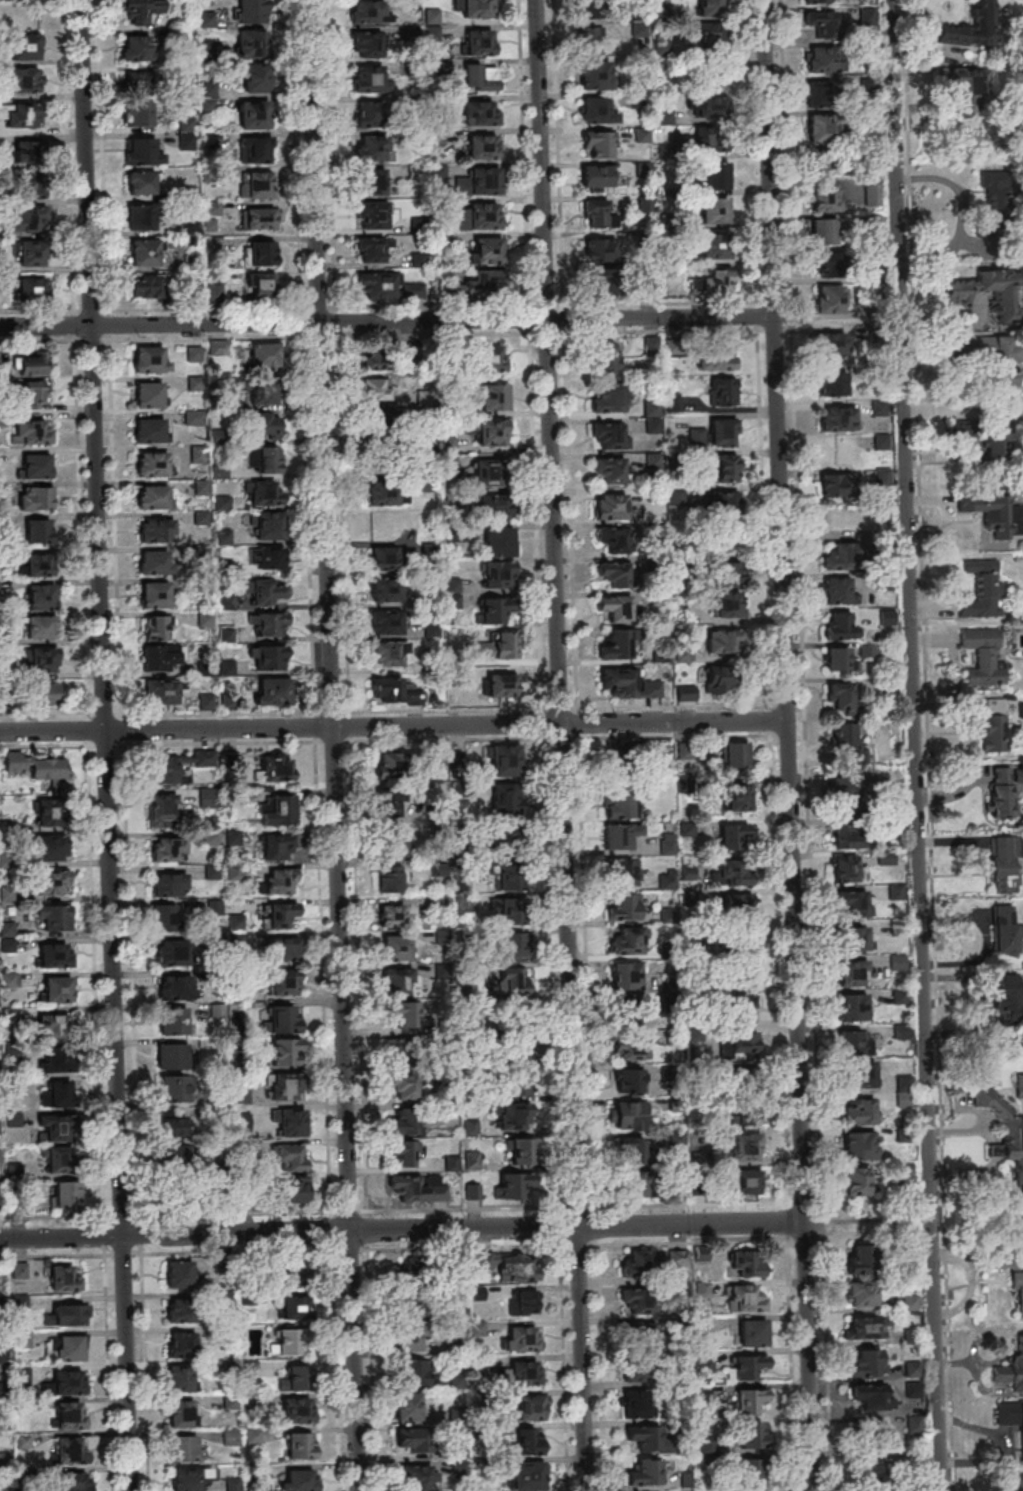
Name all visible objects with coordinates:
building: (821, 1)
building: (711, 7)
building: (477, 8)
building: (142, 11)
building: (251, 11)
building: (367, 12)
building: (596, 17)
building: (825, 23)
building: (971, 28)
building: (250, 39)
building: (479, 42)
building: (367, 44)
building: (27, 46)
building: (137, 48)
building: (709, 55)
building: (825, 60)
building: (480, 77)
building: (596, 77)
building: (22, 80)
building: (254, 80)
building: (370, 80)
building: (145, 83)
building: (964, 87)
building: (821, 95)
building: (710, 106)
building: (597, 111)
building: (481, 113)
building: (374, 114)
building: (137, 115)
building: (254, 115)
building: (20, 116)
building: (822, 129)
building: (187, 132)
building: (643, 135)
building: (714, 142)
building: (601, 144)
building: (483, 145)
building: (258, 150)
building: (374, 150)
building: (144, 151)
building: (26, 153)
building: (716, 176)
building: (597, 178)
building: (372, 182)
building: (140, 183)
building: (259, 184)
building: (477, 185)
building: (29, 188)
building: (827, 196)
building: (993, 201)
building: (715, 211)
building: (598, 214)
road: (962, 215)
building: (377, 216)
building: (479, 216)
building: (141, 217)
building: (259, 218)
building: (28, 219)
building: (825, 231)
building: (714, 246)
building: (373, 249)
building: (489, 249)
building: (600, 250)
building: (144, 253)
building: (261, 253)
building: (32, 255)
building: (419, 258)
building: (828, 264)
building: (605, 281)
building: (490, 283)
building: (712, 283)
building: (978, 283)
building: (261, 285)
building: (146, 287)
building: (387, 287)
building: (32, 289)
building: (829, 299)
road: (385, 322)
road: (433, 334)
road: (315, 336)
road: (201, 338)
road: (91, 339)
road: (38, 340)
building: (831, 343)
building: (218, 347)
building: (1008, 353)
building: (194, 354)
building: (264, 356)
building: (374, 358)
building: (491, 358)
building: (607, 358)
building: (150, 359)
building: (716, 359)
building: (32, 365)
building: (1011, 380)
building: (832, 384)
building: (375, 389)
building: (725, 391)
building: (261, 393)
building: (33, 394)
building: (149, 394)
building: (494, 397)
building: (609, 397)
building: (652, 417)
building: (194, 418)
building: (838, 419)
building: (384, 422)
building: (266, 424)
building: (150, 430)
building: (30, 431)
building: (493, 432)
building: (713, 434)
building: (611, 436)
building: (1007, 439)
building: (836, 452)
building: (197, 454)
building: (268, 459)
building: (153, 464)
building: (34, 466)
building: (729, 469)
building: (610, 470)
building: (491, 472)
building: (836, 485)
building: (264, 492)
building: (382, 495)
building: (153, 497)
building: (676, 497)
building: (35, 498)
building: (722, 502)
building: (226, 503)
building: (610, 505)
building: (494, 506)
building: (988, 510)
road: (535, 522)
building: (269, 526)
building: (156, 530)
building: (39, 531)
building: (612, 539)
building: (202, 553)
building: (270, 557)
building: (383, 558)
building: (841, 558)
building: (512, 559)
building: (155, 563)
building: (39, 564)
building: (727, 572)
building: (617, 575)
building: (981, 589)
building: (385, 590)
building: (268, 591)
building: (837, 591)
building: (154, 595)
building: (41, 597)
building: (227, 601)
building: (729, 606)
building: (615, 607)
building: (493, 611)
building: (887, 617)
building: (385, 622)
building: (269, 623)
building: (840, 625)
building: (41, 627)
building: (155, 628)
building: (723, 641)
building: (616, 645)
building: (505, 646)
building: (389, 654)
building: (981, 656)
building: (161, 657)
building: (268, 657)
building: (838, 658)
building: (44, 660)
building: (720, 680)
building: (502, 684)
building: (629, 684)
building: (394, 689)
building: (272, 691)
building: (163, 692)
building: (44, 693)
building: (686, 693)
building: (841, 697)
building: (206, 702)
road: (446, 711)
building: (988, 721)
road: (392, 727)
building: (849, 738)
road: (217, 741)
road: (104, 743)
road: (46, 744)
road: (103, 745)
road: (330, 745)
road: (558, 745)
road: (770, 745)
road: (786, 745)
road: (913, 745)
building: (627, 754)
building: (735, 755)
building: (505, 759)
building: (438, 763)
building: (390, 764)
building: (36, 767)
building: (177, 767)
building: (276, 768)
building: (854, 792)
building: (998, 794)
building: (738, 796)
building: (504, 797)
building: (622, 802)
building: (388, 804)
building: (162, 811)
building: (276, 811)
building: (45, 813)
building: (621, 835)
building: (735, 836)
building: (851, 836)
building: (393, 842)
building: (667, 844)
building: (277, 847)
building: (51, 850)
building: (168, 850)
building: (1001, 864)
building: (848, 869)
building: (623, 871)
building: (234, 872)
building: (395, 874)
building: (734, 874)
building: (504, 879)
building: (669, 880)
building: (280, 881)
building: (53, 882)
building: (170, 884)
building: (851, 903)
building: (736, 904)
building: (215, 907)
building: (623, 907)
building: (508, 911)
building: (281, 914)
building: (391, 915)
building: (54, 918)
building: (164, 918)
building: (1003, 932)
building: (625, 940)
building: (851, 940)
building: (517, 945)
building: (287, 948)
building: (393, 948)
building: (171, 954)
building: (54, 957)
building: (744, 972)
building: (852, 973)
road: (322, 975)
building: (626, 976)
road: (131, 978)
building: (519, 980)
building: (285, 982)
building: (395, 983)
building: (174, 987)
building: (56, 990)
building: (1006, 995)
building: (852, 1007)
building: (741, 1009)
building: (404, 1013)
building: (632, 1013)
building: (285, 1018)
building: (173, 1020)
building: (57, 1026)
building: (855, 1043)
building: (741, 1045)
building: (629, 1050)
building: (285, 1052)
building: (171, 1056)
building: (58, 1061)
building: (506, 1065)
building: (861, 1075)
building: (629, 1080)
building: (408, 1083)
building: (286, 1087)
building: (174, 1088)
building: (58, 1094)
building: (860, 1112)
building: (629, 1115)
building: (513, 1116)
building: (745, 1122)
building: (291, 1123)
building: (404, 1125)
building: (174, 1127)
building: (56, 1129)
building: (1004, 1130)
building: (860, 1146)
building: (631, 1150)
building: (746, 1150)
building: (517, 1151)
building: (403, 1153)
building: (291, 1157)
building: (174, 1158)
building: (55, 1160)
building: (856, 1181)
building: (745, 1182)
building: (635, 1184)
building: (407, 1186)
building: (509, 1187)
building: (294, 1189)
building: (65, 1194)
road: (234, 1212)
road: (401, 1231)
building: (861, 1258)
building: (747, 1263)
building: (505, 1265)
building: (421, 1267)
building: (299, 1270)
building: (179, 1274)
building: (65, 1280)
building: (1018, 1287)
building: (638, 1294)
building: (862, 1294)
building: (745, 1298)
building: (526, 1302)
building: (910, 1302)
building: (20, 1303)
building: (410, 1305)
building: (507, 1306)
building: (296, 1307)
building: (183, 1311)
building: (70, 1314)
building: (870, 1327)
building: (753, 1333)
building: (23, 1338)
building: (407, 1338)
building: (521, 1339)
building: (287, 1343)
building: (182, 1345)
building: (66, 1348)
building: (867, 1362)
building: (749, 1367)
building: (912, 1369)
building: (1011, 1369)
building: (412, 1372)
building: (636, 1372)
building: (526, 1373)
building: (181, 1379)
building: (292, 1379)
building: (69, 1381)
building: (913, 1390)
building: (872, 1397)
building: (750, 1401)
building: (636, 1403)
building: (409, 1406)
building: (529, 1408)
building: (298, 1412)
building: (182, 1413)
building: (71, 1415)
building: (1011, 1421)
building: (914, 1424)
building: (754, 1434)
building: (875, 1435)
building: (231, 1437)
building: (644, 1437)
building: (414, 1440)
building: (523, 1444)
building: (301, 1445)
building: (185, 1449)
building: (71, 1450)
building: (752, 1469)
building: (872, 1469)
building: (646, 1473)
building: (419, 1477)
building: (528, 1477)
building: (189, 1478)
building: (299, 1480)
building: (75, 1481)
building: (1018, 1482)

